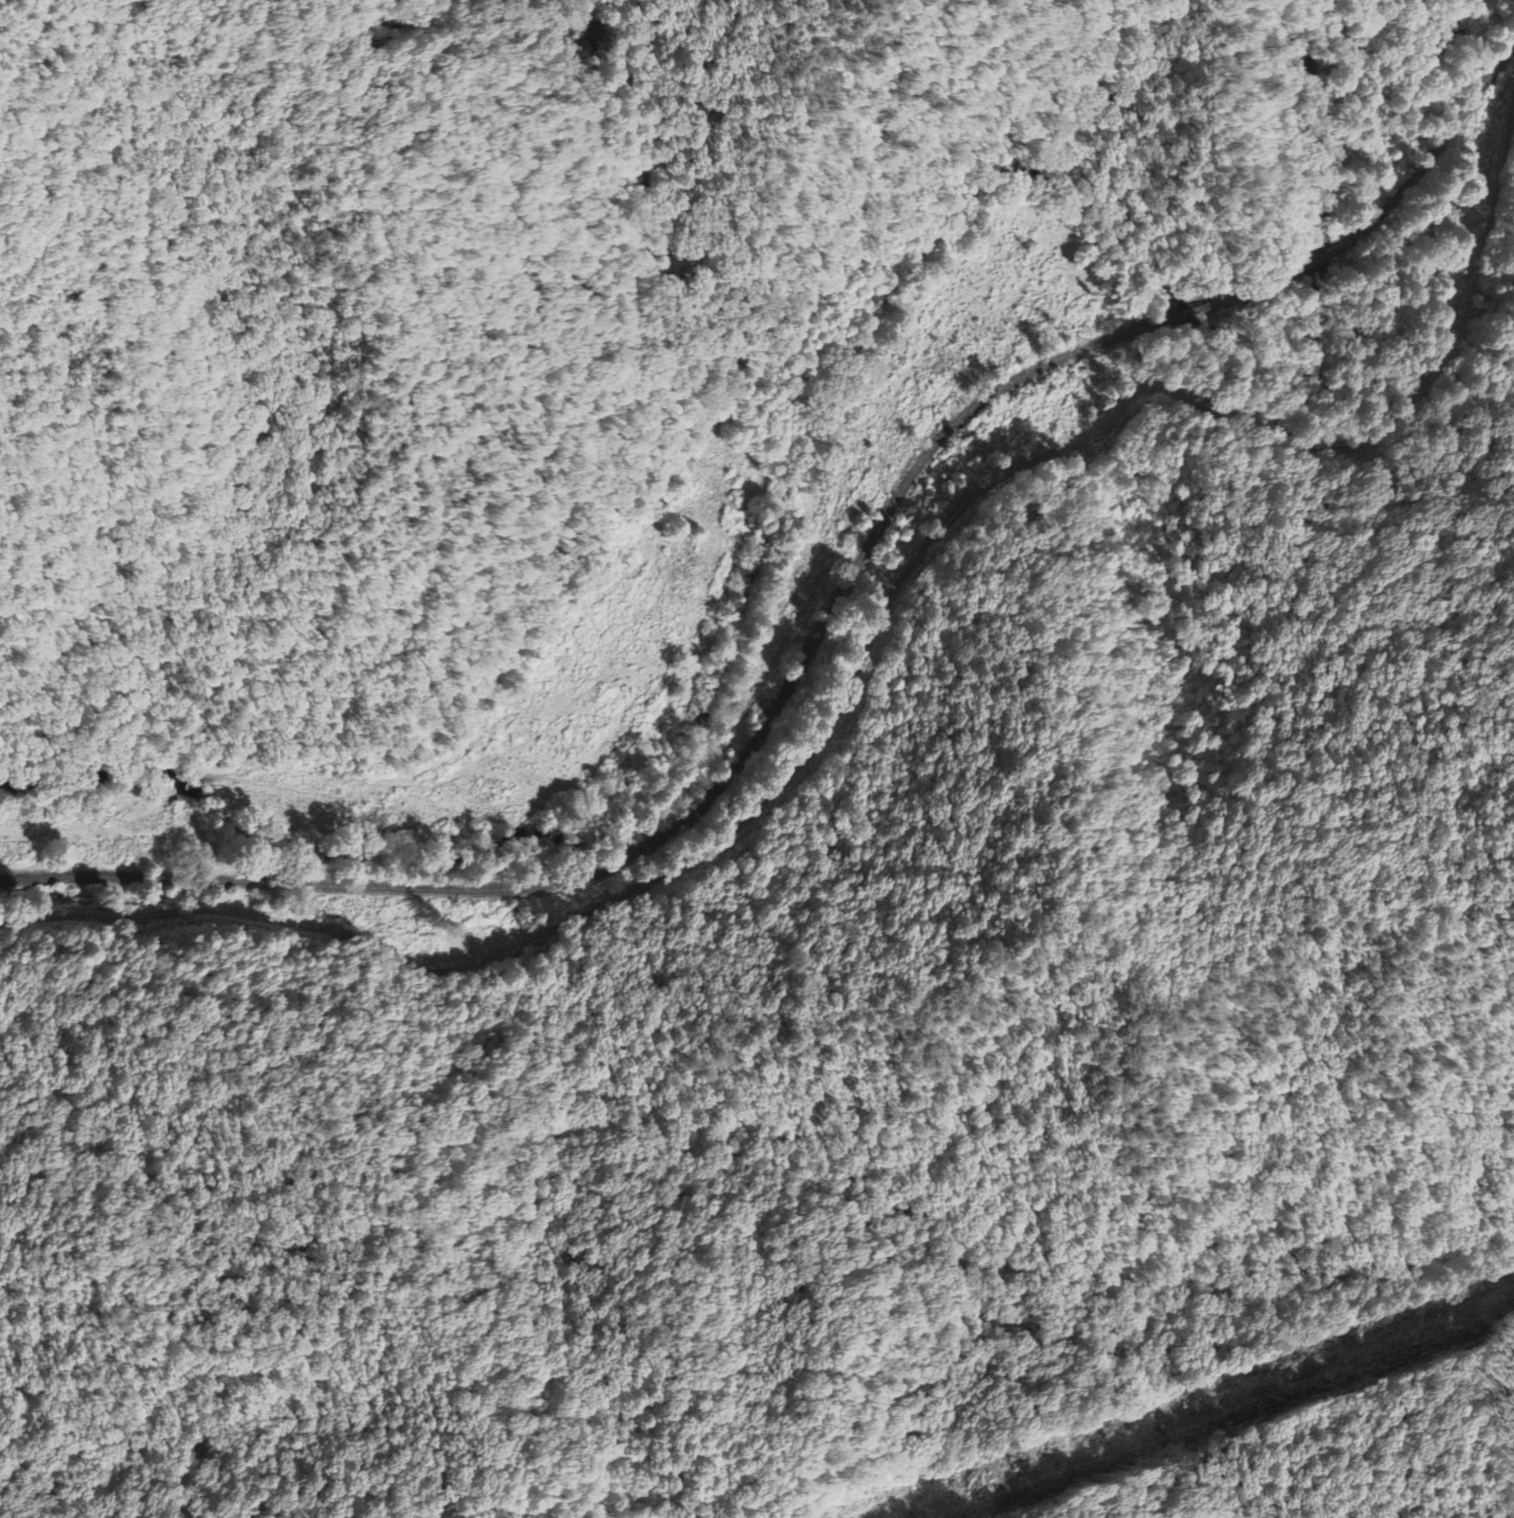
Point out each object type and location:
railway: (1435, 143)
railway: (1317, 257)
railway: (1251, 287)
railway: (1184, 312)
river: (801, 397)
road: (864, 654)
railway: (686, 817)
power tower: (1020, 1467)

